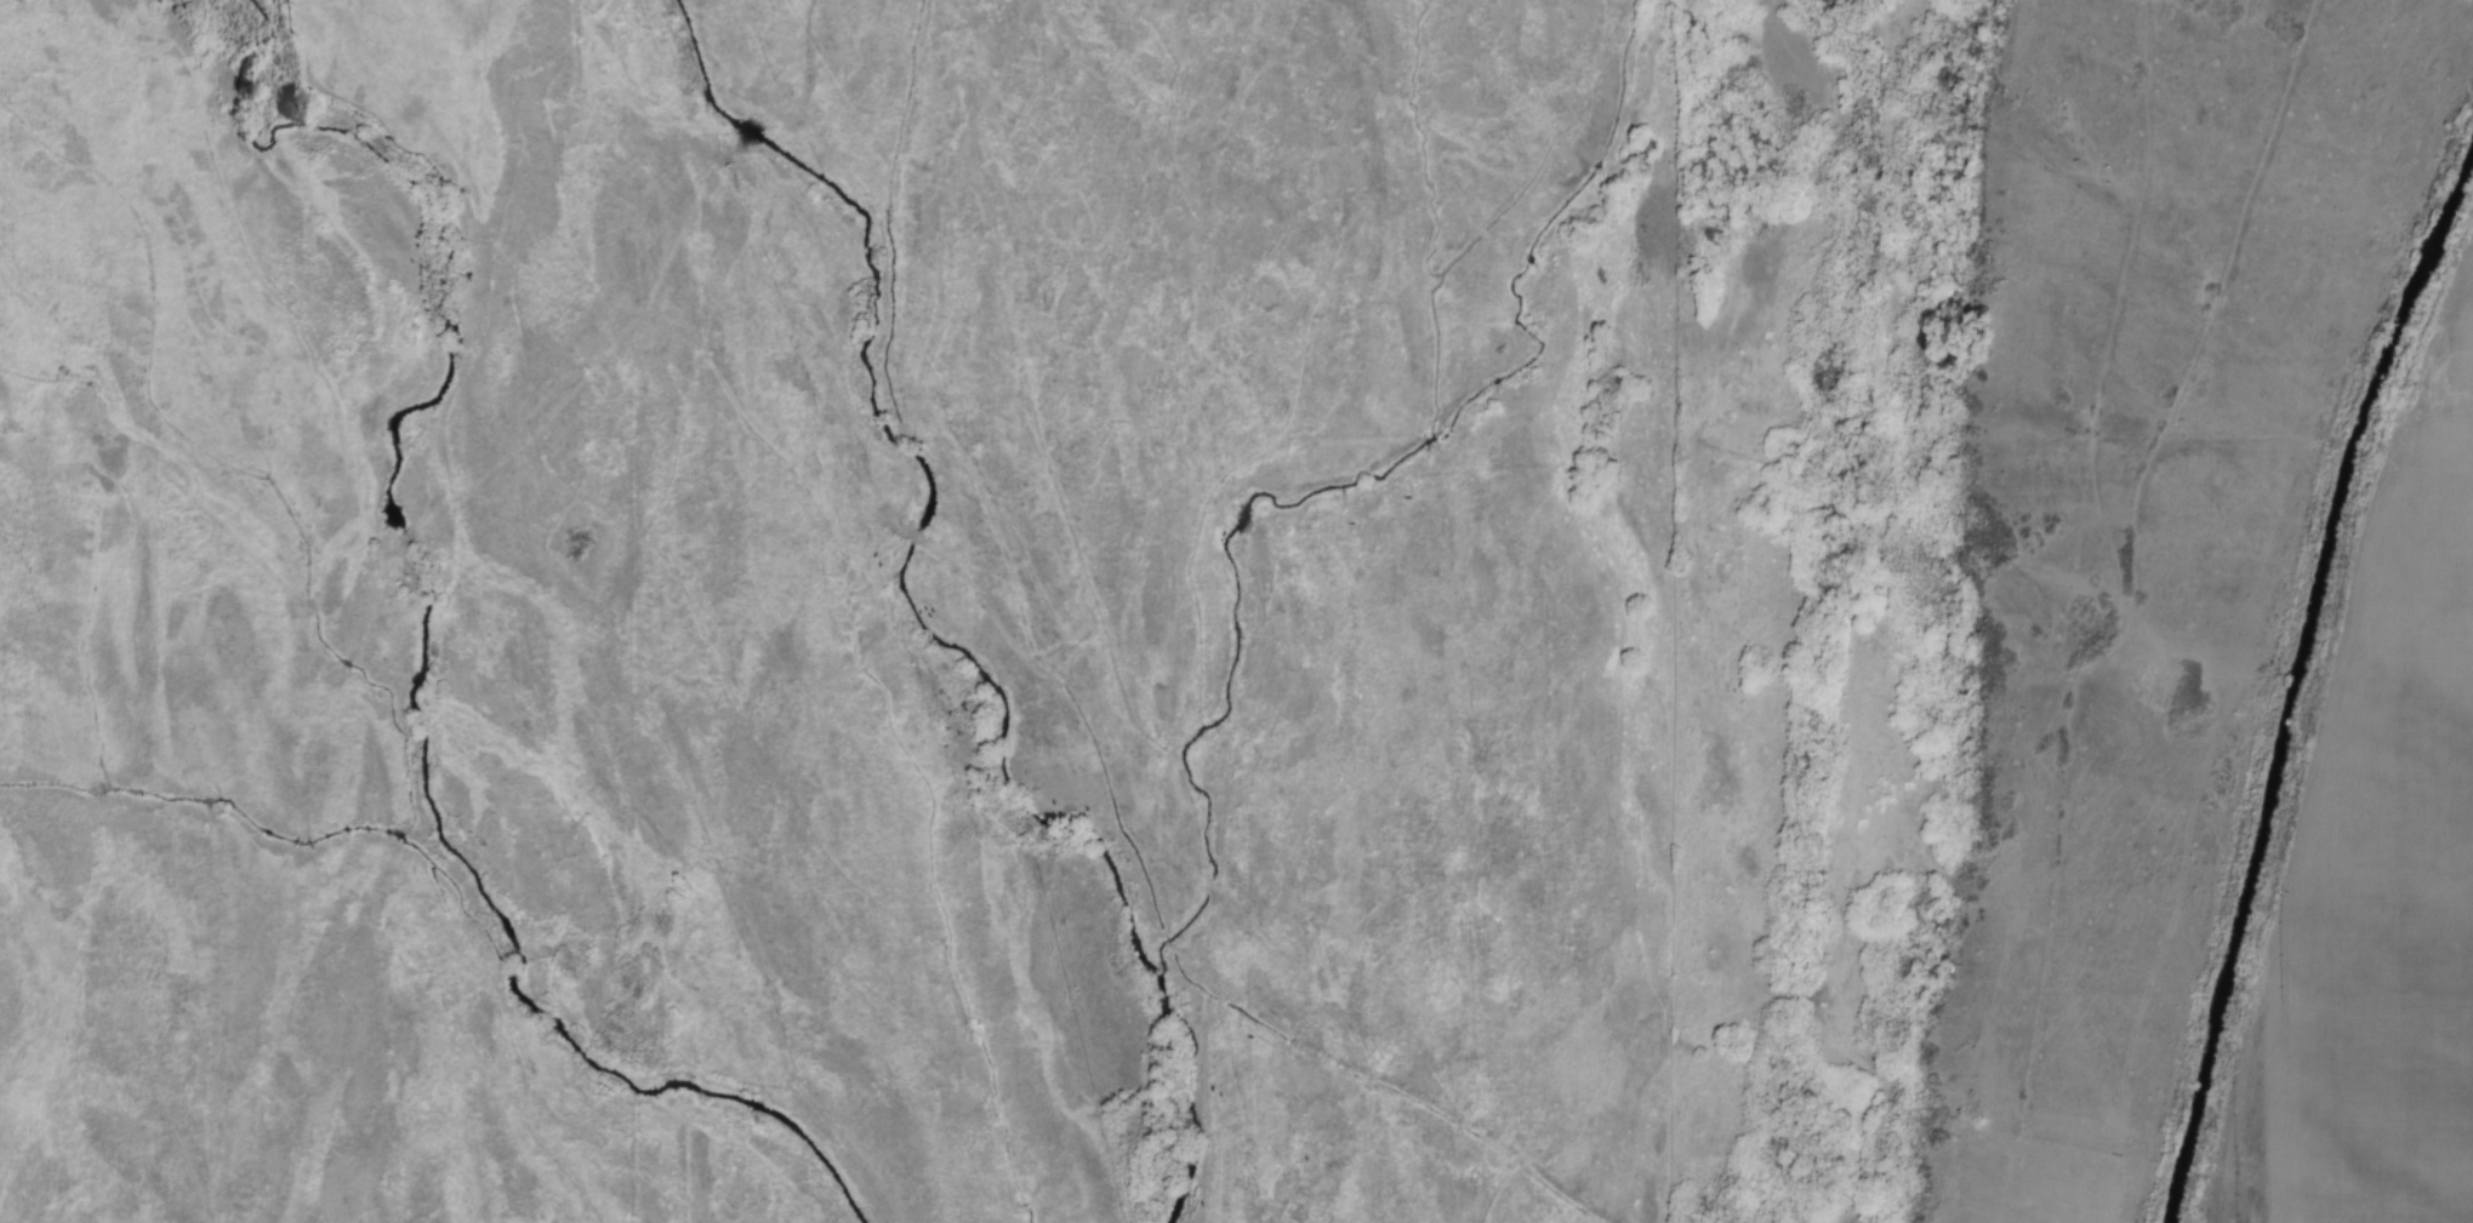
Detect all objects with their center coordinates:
crop: (2375, 847)

